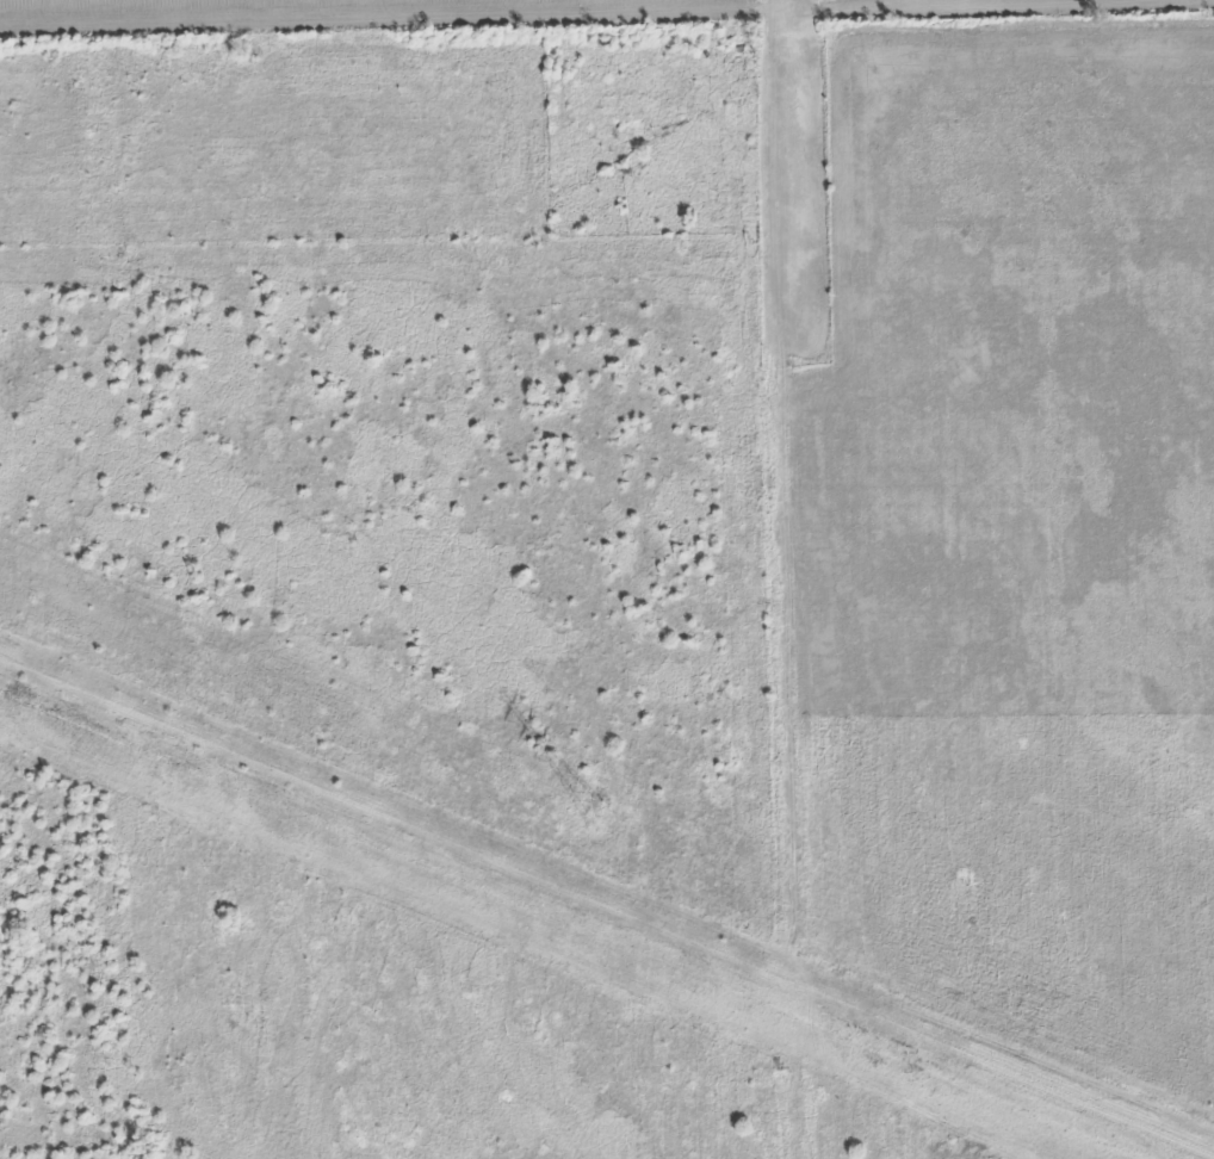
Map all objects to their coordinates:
power tower: (594, 814)

